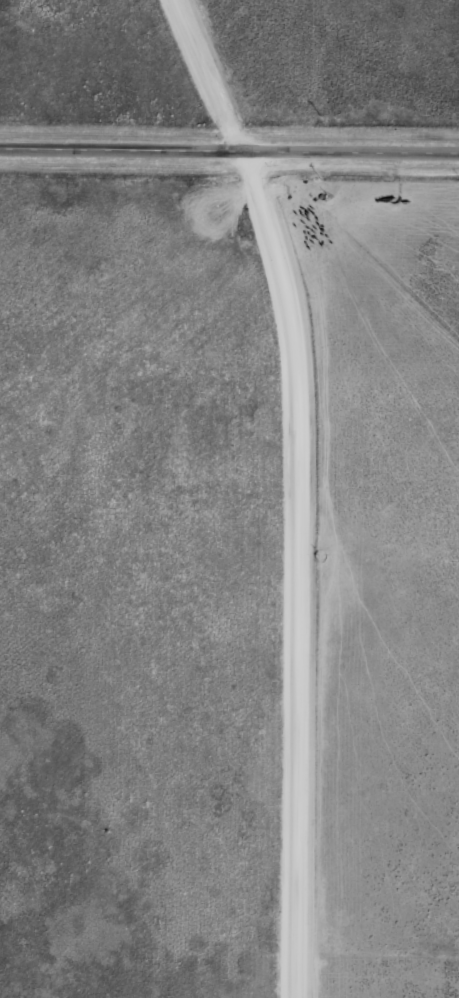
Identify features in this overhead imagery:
road: (229, 152)
road: (330, 487)

